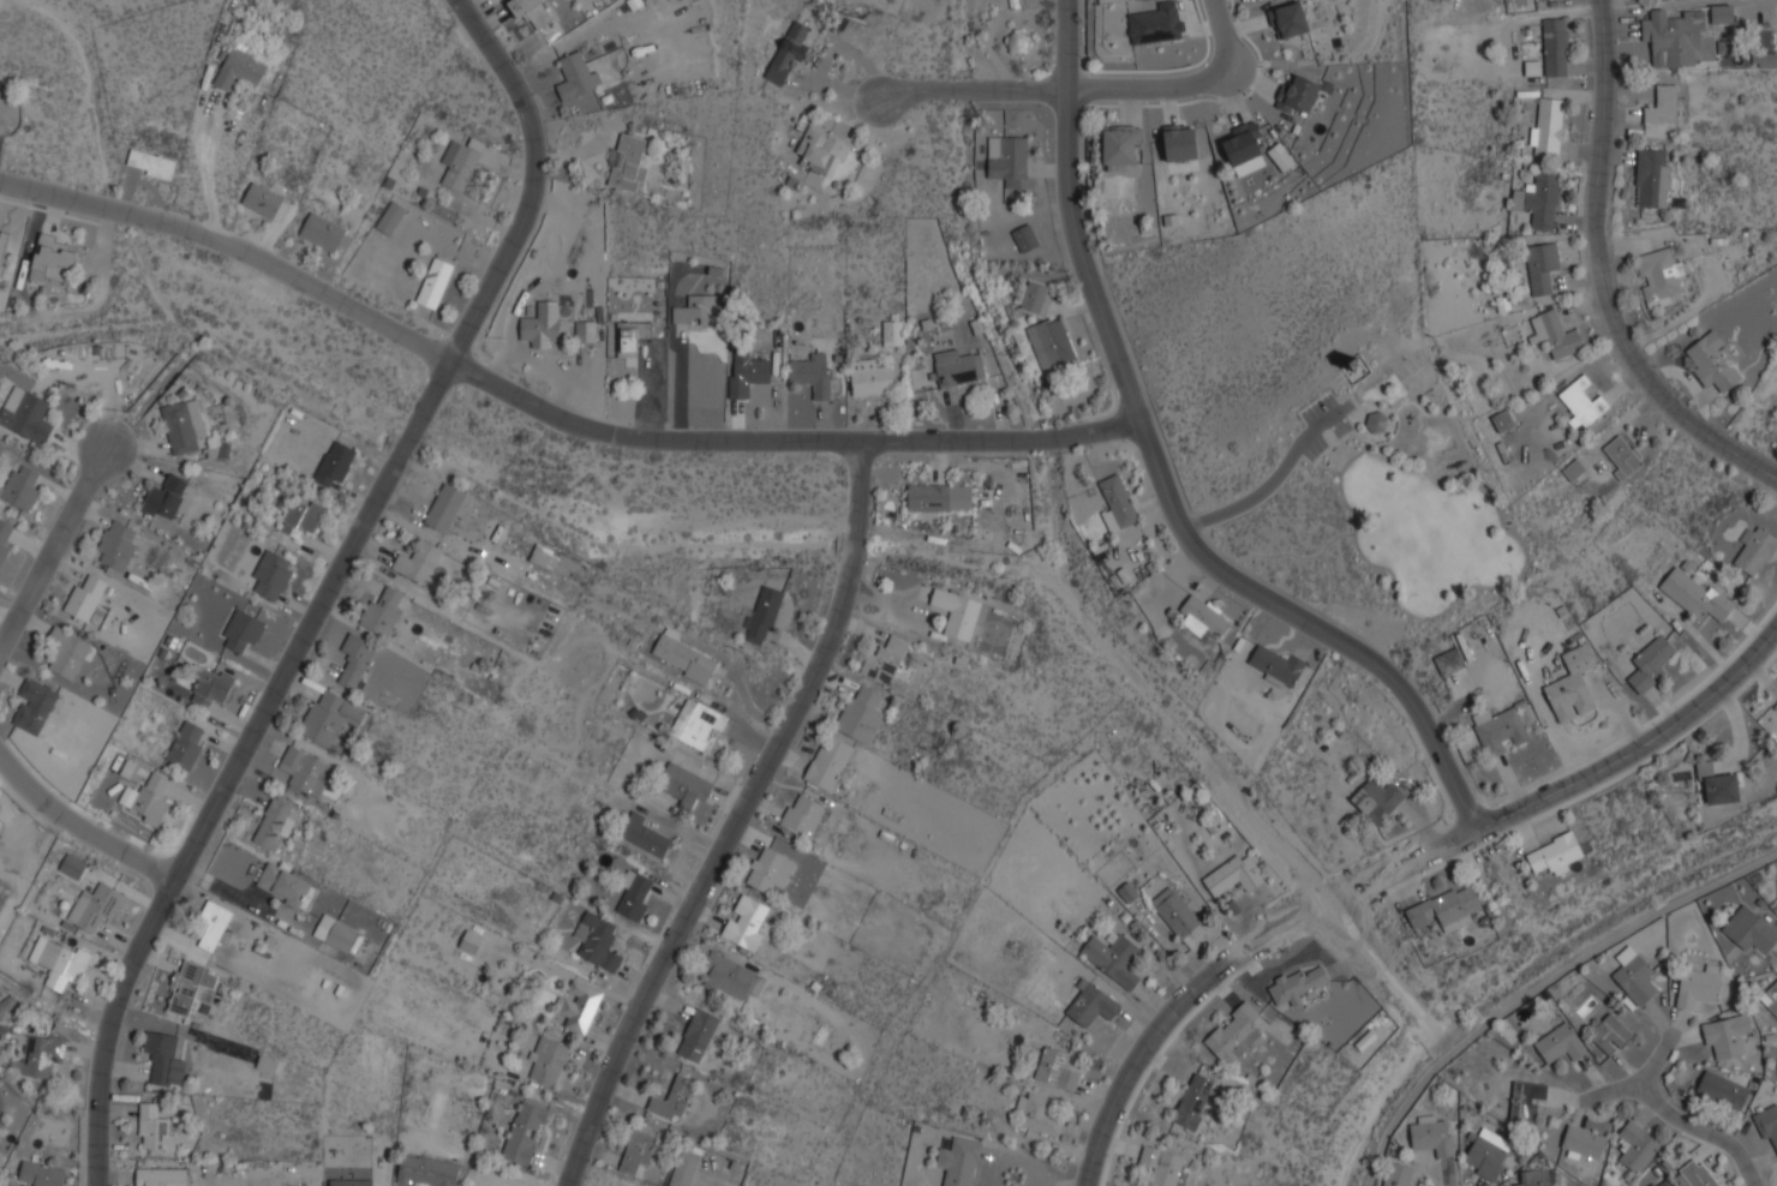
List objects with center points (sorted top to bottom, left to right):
building: (529, 11)
building: (1722, 13)
building: (1291, 19)
building: (1155, 23)
building: (1674, 37)
building: (1556, 47)
building: (789, 50)
building: (240, 68)
building: (576, 74)
road: (1187, 82)
road: (970, 88)
building: (1302, 92)
building: (1664, 104)
building: (1550, 126)
building: (1120, 143)
building: (1180, 144)
building: (1245, 149)
building: (822, 151)
building: (1007, 158)
building: (628, 162)
building: (151, 163)
building: (462, 164)
building: (1652, 176)
road: (205, 178)
building: (1542, 199)
building: (265, 202)
building: (390, 216)
building: (323, 232)
building: (1025, 238)
building: (4, 250)
building: (53, 259)
building: (1542, 266)
building: (1659, 275)
road: (1599, 277)
building: (436, 281)
building: (1034, 296)
building: (695, 310)
building: (540, 329)
building: (586, 330)
building: (893, 331)
building: (1555, 333)
building: (630, 337)
building: (1051, 342)
building: (1713, 364)
building: (958, 367)
building: (749, 373)
building: (812, 375)
building: (870, 377)
building: (1582, 402)
road: (546, 412)
building: (26, 414)
parking lot: (1324, 419)
building: (1503, 420)
building: (184, 425)
building: (1622, 456)
building: (335, 462)
building: (1574, 469)
road: (1159, 475)
road: (1267, 478)
park: (1425, 485)
building: (20, 487)
building: (166, 497)
building: (940, 497)
building: (1118, 503)
building: (445, 507)
building: (301, 516)
building: (6, 538)
building: (119, 545)
road: (52, 547)
building: (1757, 551)
building: (418, 562)
building: (557, 562)
building: (273, 574)
road: (330, 585)
building: (85, 597)
building: (1697, 597)
building: (384, 611)
building: (961, 612)
building: (764, 616)
building: (1204, 617)
building: (243, 630)
building: (67, 653)
building: (683, 657)
building: (355, 659)
building: (885, 660)
building: (1450, 661)
building: (1651, 661)
building: (1276, 665)
building: (211, 685)
building: (1570, 685)
building: (35, 705)
building: (861, 713)
building: (330, 715)
building: (696, 723)
building: (1498, 730)
road: (1638, 743)
building: (187, 744)
building: (830, 762)
building: (305, 772)
building: (684, 784)
building: (1718, 785)
building: (1377, 798)
building: (146, 799)
building: (0, 804)
building: (804, 815)
road: (736, 819)
building: (275, 823)
road: (76, 832)
building: (644, 834)
building: (1555, 855)
building: (72, 865)
building: (767, 870)
building: (1233, 875)
building: (287, 886)
building: (1127, 892)
building: (636, 893)
building: (95, 908)
building: (1446, 908)
building: (1177, 912)
building: (746, 922)
building: (214, 924)
building: (1749, 930)
building: (342, 936)
building: (471, 941)
building: (598, 941)
building: (1114, 956)
road: (1235, 960)
building: (60, 962)
building: (729, 976)
building: (1634, 976)
building: (1298, 984)
building: (1698, 984)
building: (190, 986)
building: (1771, 999)
building: (7, 1004)
building: (1093, 1004)
building: (579, 1005)
building: (1238, 1032)
building: (699, 1035)
building: (1610, 1035)
building: (1728, 1035)
building: (1561, 1042)
building: (1776, 1048)
building: (40, 1055)
building: (166, 1058)
building: (548, 1061)
building: (1057, 1068)
building: (1723, 1090)
road: (1619, 1091)
building: (1525, 1097)
building: (672, 1098)
building: (1195, 1101)
building: (1039, 1112)
road: (1692, 1114)
building: (154, 1126)
building: (1769, 1126)
building: (1431, 1132)
building: (525, 1133)
building: (1584, 1142)
building: (1637, 1145)
building: (636, 1152)
building: (1488, 1154)
building: (1, 1157)
building: (961, 1161)
building: (1162, 1166)
building: (684, 1168)
building: (426, 1170)
building: (1697, 1173)
building: (40, 1174)
building: (1396, 1174)
building: (161, 1176)
building: (1534, 1178)
building: (351, 1182)
building: (1662, 1182)

